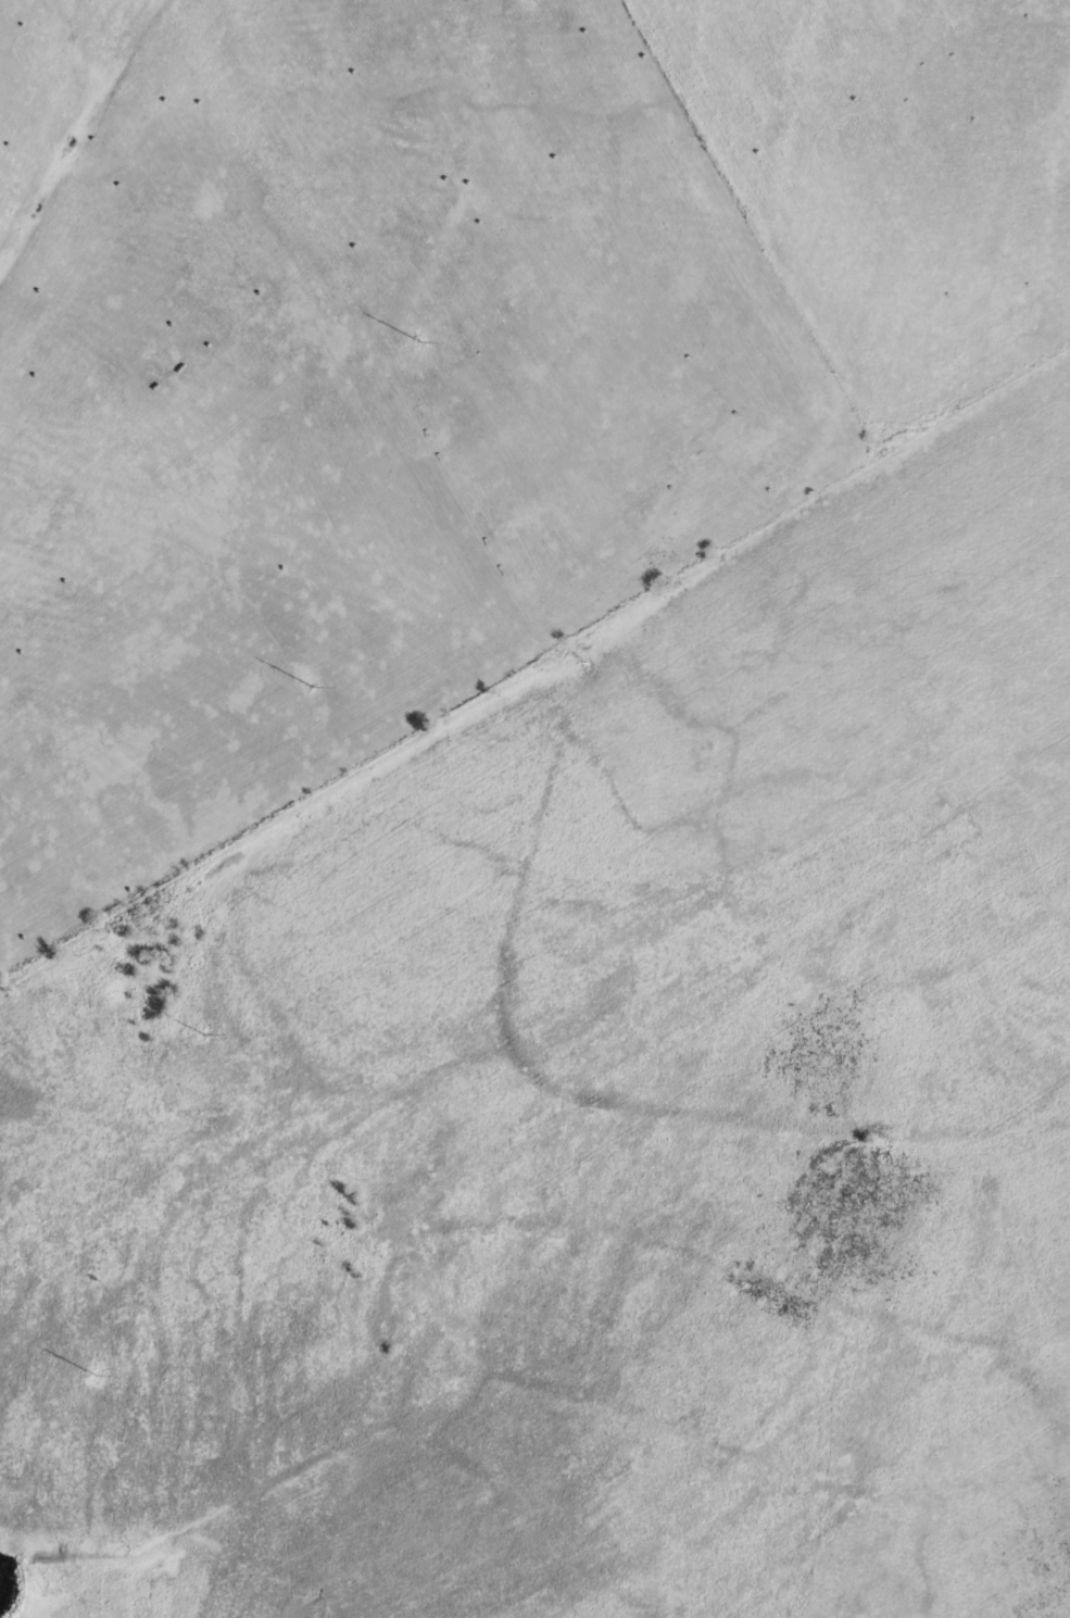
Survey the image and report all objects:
power tower: (419, 340)
power tower: (312, 685)
power tower: (203, 1033)
power tower: (96, 1375)

